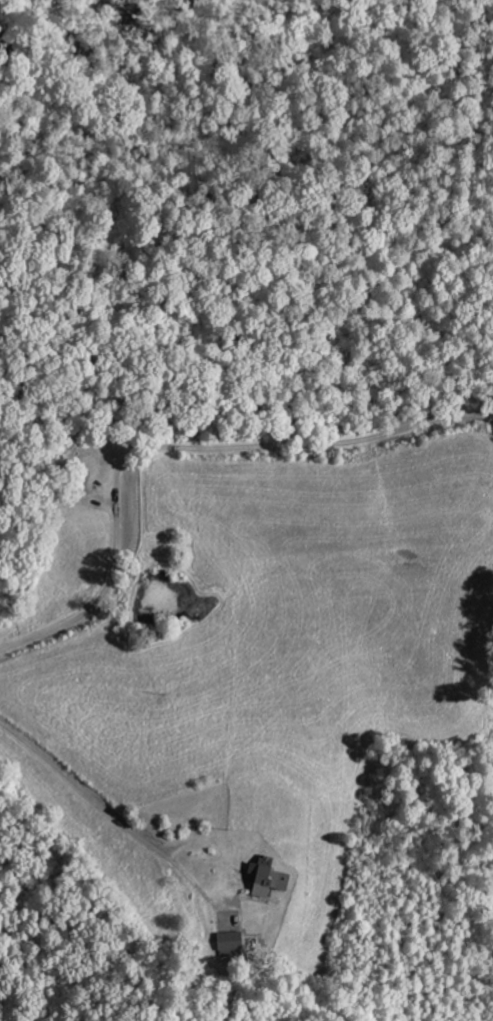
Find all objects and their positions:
road: (191, 447)
road: (101, 793)
building: (271, 881)
building: (232, 943)

